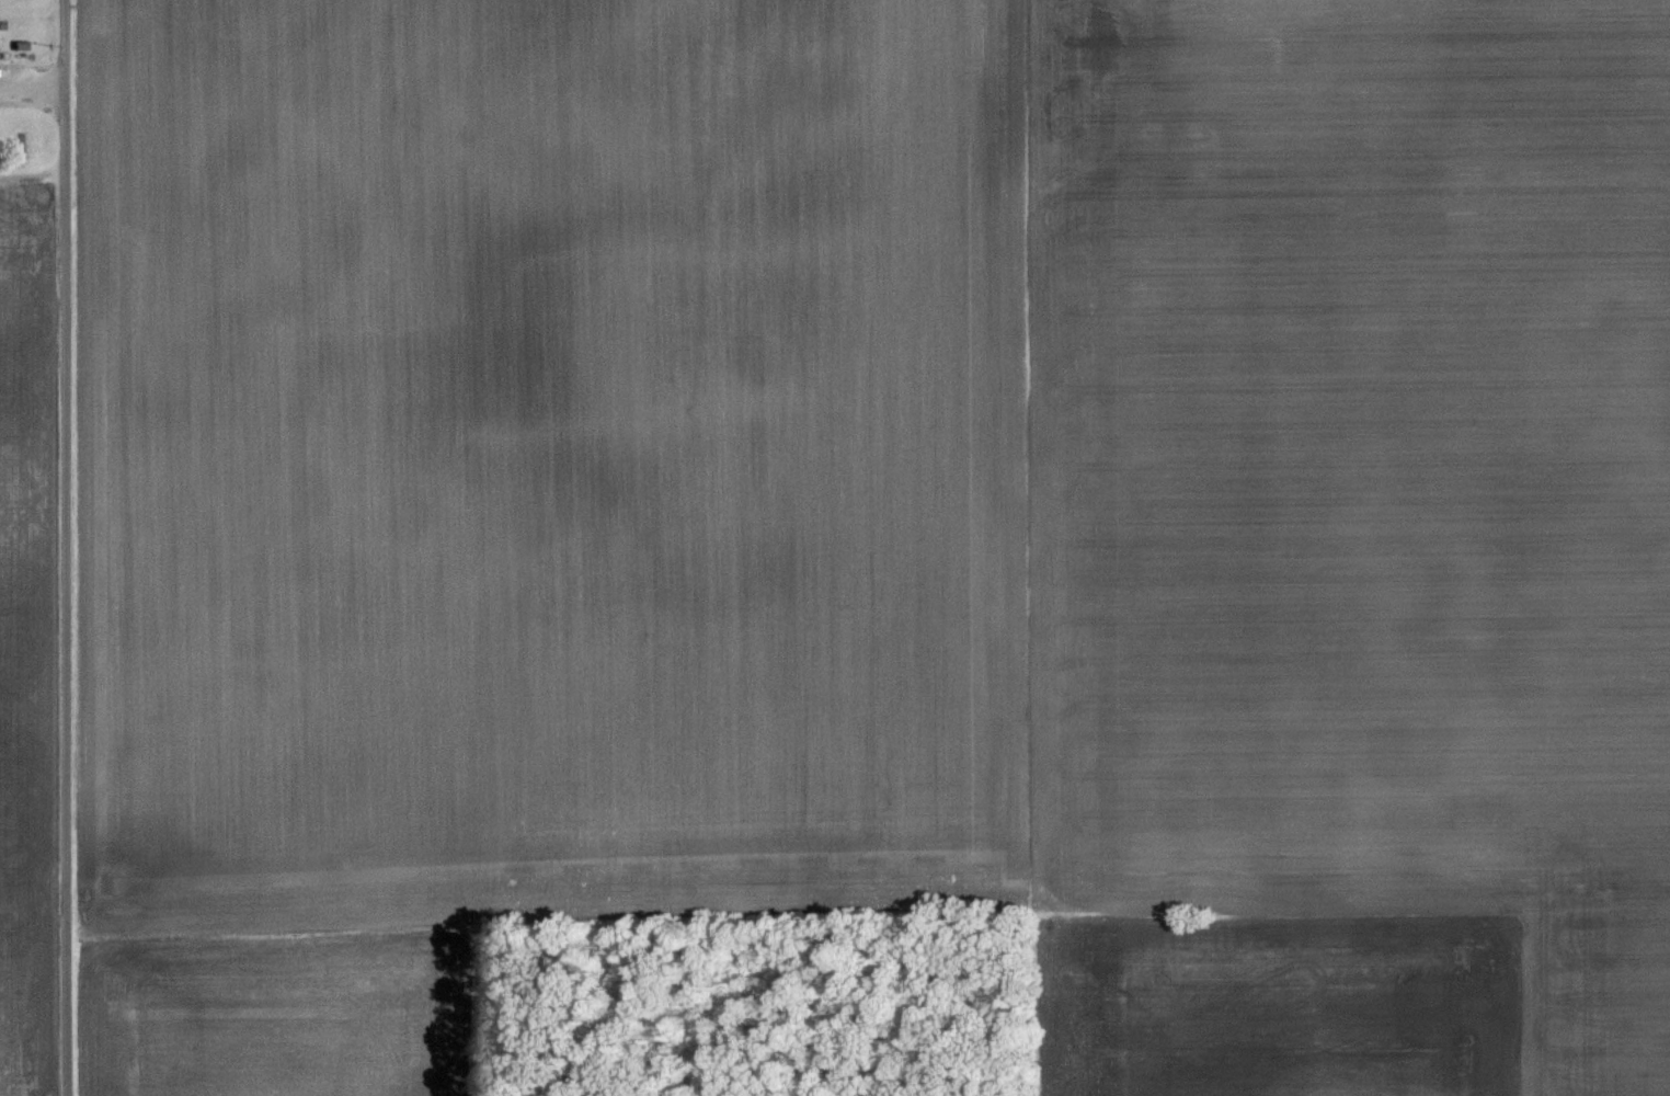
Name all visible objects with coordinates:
road: (30, 93)
road: (60, 547)

